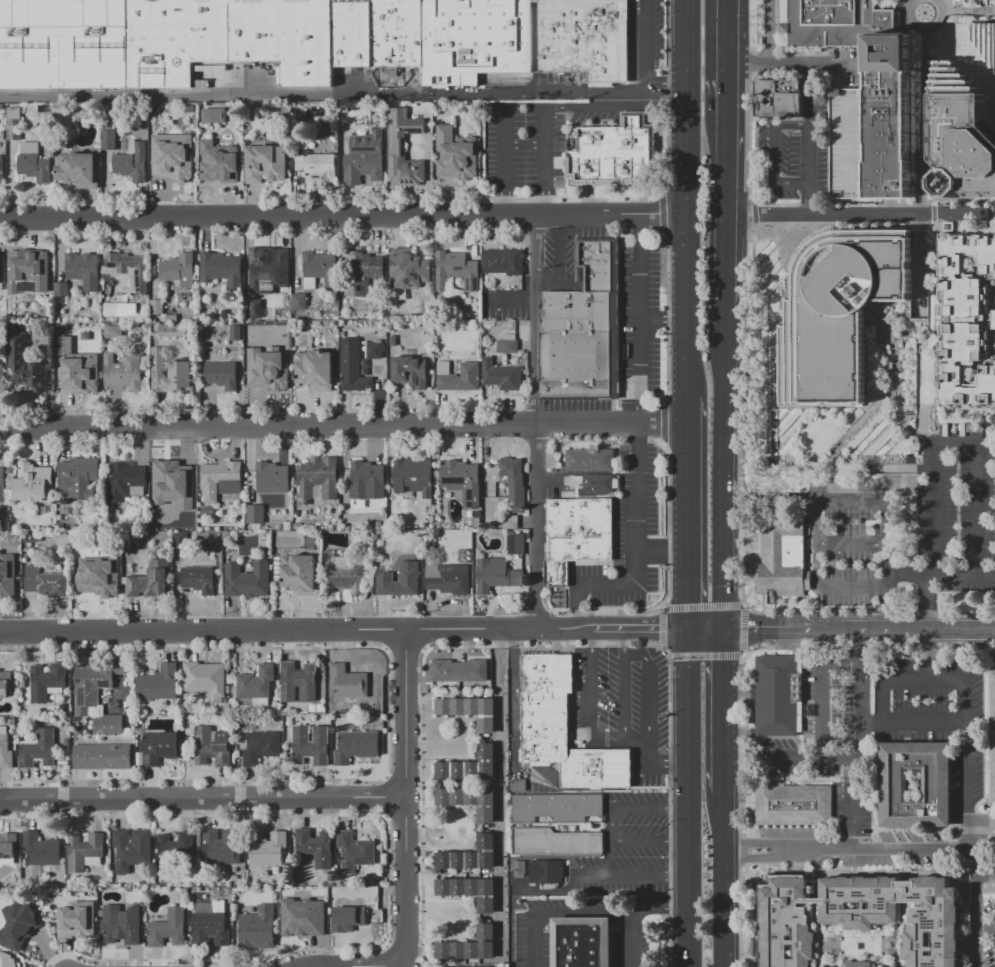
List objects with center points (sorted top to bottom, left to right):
road: (908, 1)
road: (974, 12)
road: (950, 13)
fountain: (926, 14)
road: (977, 26)
building: (987, 32)
road: (770, 33)
road: (926, 33)
road: (924, 35)
building: (301, 40)
parking lot: (648, 40)
road: (648, 44)
flagpole: (830, 46)
flagpole: (838, 46)
flagpole: (847, 46)
flagpole: (855, 46)
flagpole: (863, 46)
road: (723, 50)
road: (954, 66)
road: (802, 67)
road: (925, 79)
road: (342, 91)
building: (781, 99)
building: (217, 116)
building: (13, 122)
building: (966, 138)
building: (111, 141)
road: (811, 141)
road: (545, 143)
building: (850, 143)
parking garage: (850, 143)
building: (891, 143)
road: (504, 145)
building: (30, 147)
building: (406, 147)
parking lot: (798, 152)
building: (616, 153)
building: (459, 155)
road: (775, 155)
road: (723, 158)
building: (367, 159)
building: (134, 163)
building: (221, 163)
building: (267, 164)
building: (33, 166)
building: (324, 167)
building: (1, 168)
building: (81, 170)
building: (174, 171)
road: (504, 198)
road: (546, 198)
road: (683, 199)
road: (580, 215)
road: (239, 216)
road: (859, 217)
road: (919, 219)
road: (558, 261)
building: (506, 262)
building: (2, 267)
building: (83, 267)
building: (181, 270)
building: (224, 270)
building: (275, 270)
building: (321, 270)
building: (411, 270)
building: (130, 271)
building: (458, 271)
building: (31, 272)
road: (723, 273)
building: (365, 274)
building: (63, 290)
building: (301, 302)
road: (509, 302)
building: (159, 308)
building: (263, 309)
building: (112, 310)
building: (133, 311)
building: (836, 311)
building: (227, 315)
road: (639, 319)
road: (660, 319)
building: (966, 321)
parking lot: (643, 323)
building: (585, 328)
building: (173, 331)
building: (116, 332)
building: (238, 333)
building: (395, 341)
building: (509, 347)
building: (377, 351)
building: (28, 365)
building: (355, 367)
building: (317, 371)
building: (125, 372)
building: (412, 373)
building: (174, 375)
building: (1, 376)
building: (224, 376)
building: (449, 376)
building: (504, 376)
building: (270, 380)
building: (84, 382)
road: (534, 420)
road: (340, 425)
road: (639, 438)
road: (722, 446)
building: (592, 461)
road: (899, 468)
building: (14, 471)
road: (683, 476)
building: (369, 477)
building: (80, 478)
building: (180, 478)
building: (274, 478)
road: (975, 478)
building: (417, 479)
building: (223, 480)
building: (320, 481)
building: (465, 482)
building: (128, 483)
building: (2, 484)
building: (35, 484)
building: (516, 484)
building: (600, 484)
road: (768, 499)
building: (258, 515)
building: (62, 518)
road: (935, 521)
parking lot: (907, 522)
building: (510, 523)
building: (187, 524)
building: (64, 526)
building: (4, 527)
building: (76, 528)
building: (578, 536)
building: (40, 539)
building: (182, 540)
road: (849, 542)
building: (518, 545)
road: (637, 549)
road: (661, 551)
building: (784, 557)
building: (7, 575)
building: (303, 575)
road: (940, 575)
building: (499, 576)
building: (350, 577)
building: (100, 579)
building: (450, 579)
building: (201, 580)
building: (250, 581)
building: (402, 581)
building: (46, 582)
building: (153, 582)
road: (685, 589)
road: (880, 590)
road: (722, 593)
road: (926, 600)
road: (702, 606)
road: (576, 607)
road: (858, 625)
road: (703, 626)
traffic signals: (722, 626)
road: (533, 627)
road: (661, 627)
road: (673, 627)
traffic signals: (685, 627)
road: (742, 629)
road: (203, 630)
road: (590, 638)
road: (624, 639)
road: (722, 640)
road: (685, 650)
road: (927, 652)
road: (705, 655)
road: (841, 662)
building: (462, 672)
building: (208, 680)
building: (51, 682)
building: (301, 683)
building: (5, 684)
building: (351, 685)
building: (162, 686)
building: (259, 686)
road: (511, 686)
road: (647, 687)
road: (966, 688)
building: (99, 695)
road: (624, 695)
building: (781, 696)
road: (822, 710)
building: (473, 712)
road: (590, 712)
road: (407, 713)
road: (720, 722)
road: (913, 722)
building: (561, 728)
parking lot: (880, 735)
road: (636, 739)
building: (992, 739)
road: (740, 742)
building: (313, 746)
building: (359, 747)
building: (162, 748)
building: (215, 748)
building: (263, 748)
building: (5, 749)
building: (40, 750)
road: (647, 752)
building: (105, 758)
road: (857, 759)
road: (666, 765)
building: (474, 766)
flagpole: (665, 780)
building: (516, 784)
building: (915, 786)
road: (203, 798)
building: (472, 802)
road: (851, 803)
road: (669, 805)
building: (796, 805)
building: (559, 808)
road: (985, 819)
road: (686, 820)
road: (613, 823)
building: (558, 842)
road: (752, 844)
building: (8, 847)
building: (224, 848)
building: (318, 848)
parking lot: (628, 848)
road: (878, 848)
road: (741, 849)
park: (991, 849)
building: (44, 850)
building: (134, 850)
building: (270, 850)
building: (357, 852)
building: (87, 853)
building: (179, 854)
building: (472, 856)
road: (753, 856)
road: (607, 857)
building: (521, 870)
building: (546, 871)
road: (633, 876)
road: (721, 878)
road: (985, 878)
road: (407, 882)
parking lot: (514, 887)
building: (473, 892)
road: (975, 893)
road: (657, 905)
road: (580, 912)
building: (309, 917)
road: (746, 917)
building: (78, 920)
building: (350, 920)
building: (18, 924)
building: (124, 925)
building: (213, 925)
building: (935, 925)
building: (787, 926)
building: (171, 929)
building: (262, 930)
building: (32, 937)
road: (532, 939)
road: (629, 939)
building: (580, 941)
building: (472, 947)
building: (7, 960)
building: (859, 964)
road: (359, 966)
building: (463, 966)

